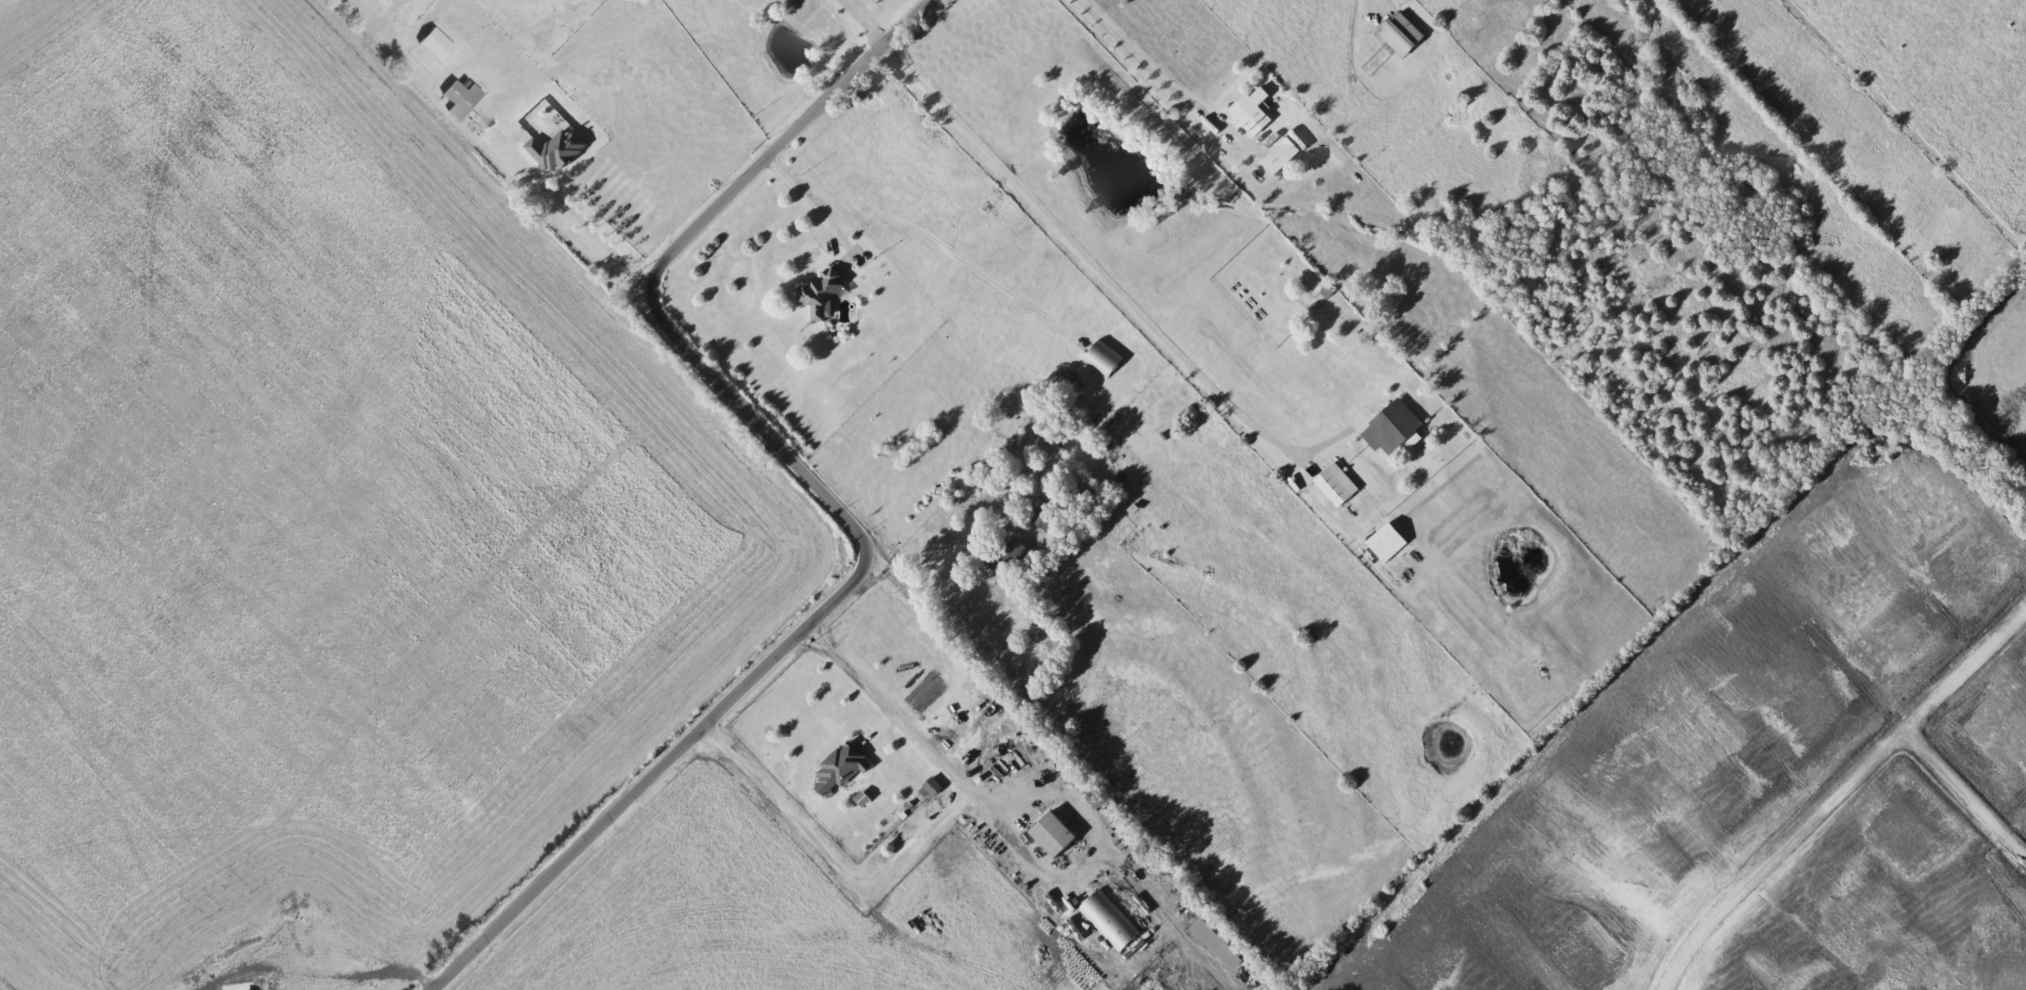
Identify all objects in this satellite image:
building: (639, 1)
road: (864, 20)
building: (1404, 36)
building: (439, 47)
road: (1149, 74)
building: (464, 100)
building: (1252, 116)
building: (559, 151)
building: (1282, 157)
road: (808, 198)
road: (571, 204)
road: (1114, 284)
building: (823, 297)
building: (1106, 358)
building: (1394, 429)
building: (1338, 486)
road: (830, 501)
road: (1322, 502)
building: (1042, 518)
building: (1007, 565)
building: (842, 767)
building: (1054, 835)
road: (921, 839)
road: (1099, 840)
road: (1163, 915)
building: (1111, 921)

